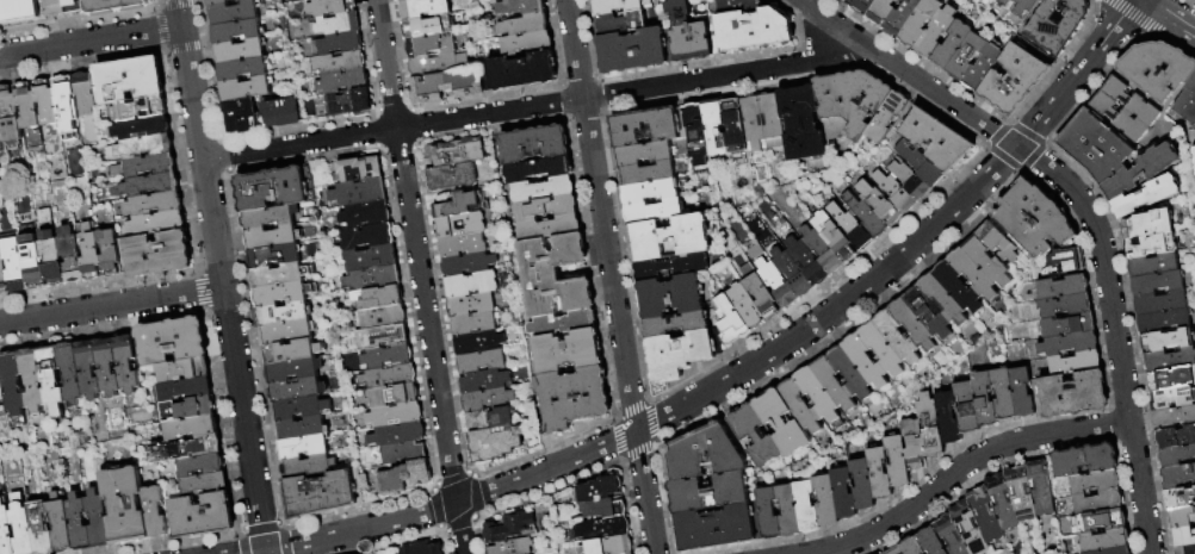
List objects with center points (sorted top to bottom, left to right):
building: (243, 0)
building: (404, 0)
building: (216, 1)
building: (847, 2)
building: (1007, 4)
building: (113, 6)
building: (617, 6)
building: (737, 6)
building: (863, 6)
building: (74, 7)
building: (330, 7)
building: (520, 7)
building: (1027, 7)
building: (20, 8)
building: (54, 8)
building: (423, 8)
building: (234, 12)
building: (883, 12)
road: (1174, 14)
building: (903, 18)
building: (921, 23)
building: (339, 24)
building: (620, 24)
building: (1057, 24)
building: (524, 25)
building: (427, 26)
building: (237, 30)
building: (749, 31)
building: (688, 33)
building: (936, 33)
road: (91, 41)
building: (338, 44)
building: (526, 44)
building: (429, 45)
building: (952, 45)
building: (240, 50)
building: (632, 51)
building: (967, 57)
building: (339, 63)
building: (436, 64)
building: (242, 68)
building: (984, 68)
building: (1158, 70)
building: (520, 71)
building: (126, 80)
building: (1016, 80)
building: (343, 82)
building: (446, 86)
building: (246, 88)
building: (83, 94)
building: (850, 100)
building: (348, 102)
building: (1131, 102)
building: (66, 105)
road: (530, 107)
building: (47, 108)
building: (141, 108)
building: (1188, 108)
building: (279, 112)
building: (240, 114)
building: (29, 117)
building: (886, 117)
building: (10, 118)
building: (1121, 119)
building: (772, 122)
building: (800, 124)
building: (753, 125)
building: (645, 126)
building: (141, 127)
building: (733, 127)
building: (714, 129)
building: (695, 135)
building: (933, 137)
building: (1, 141)
building: (534, 145)
building: (141, 147)
building: (1096, 148)
building: (470, 152)
building: (643, 154)
building: (1194, 154)
building: (441, 156)
building: (918, 164)
building: (144, 167)
building: (358, 169)
building: (539, 170)
building: (1141, 173)
building: (646, 174)
building: (451, 179)
building: (909, 181)
building: (150, 185)
building: (274, 189)
building: (648, 192)
building: (893, 193)
building: (357, 194)
building: (1145, 198)
building: (544, 200)
building: (154, 204)
building: (879, 204)
building: (456, 206)
road: (1084, 207)
building: (652, 212)
building: (365, 216)
building: (863, 216)
building: (270, 218)
building: (1033, 222)
building: (156, 224)
building: (459, 226)
building: (1148, 226)
building: (849, 228)
building: (549, 229)
building: (366, 237)
building: (832, 237)
building: (272, 238)
building: (669, 238)
building: (0, 242)
building: (998, 244)
building: (460, 247)
building: (1152, 247)
building: (50, 250)
building: (821, 251)
building: (110, 254)
building: (70, 255)
building: (91, 255)
building: (159, 255)
building: (273, 257)
building: (369, 259)
building: (32, 262)
building: (806, 262)
building: (987, 262)
building: (13, 263)
building: (1065, 264)
building: (466, 266)
building: (671, 267)
building: (1154, 267)
building: (791, 274)
building: (279, 275)
building: (973, 275)
road: (222, 276)
road: (420, 276)
building: (553, 276)
road: (611, 276)
building: (2, 279)
building: (372, 279)
building: (775, 285)
building: (1157, 285)
building: (470, 286)
building: (958, 288)
building: (1064, 290)
building: (759, 292)
building: (281, 293)
building: (669, 297)
building: (377, 298)
building: (943, 301)
building: (1162, 304)
road: (112, 306)
building: (470, 306)
building: (744, 306)
building: (1066, 307)
building: (929, 313)
building: (283, 315)
building: (378, 318)
building: (729, 322)
building: (1164, 323)
building: (472, 324)
building: (563, 324)
building: (674, 325)
building: (914, 325)
building: (1069, 328)
building: (287, 332)
building: (382, 337)
building: (898, 338)
building: (173, 341)
building: (1168, 342)
building: (477, 344)
building: (1071, 346)
building: (883, 350)
building: (291, 353)
building: (566, 353)
building: (677, 354)
building: (386, 357)
building: (1170, 361)
building: (481, 362)
building: (126, 363)
road: (756, 363)
building: (866, 363)
building: (1076, 365)
building: (106, 366)
building: (88, 369)
building: (182, 369)
building: (293, 371)
building: (68, 373)
building: (850, 374)
building: (388, 378)
building: (31, 379)
building: (49, 380)
building: (1171, 380)
building: (12, 382)
building: (479, 382)
building: (834, 385)
building: (1, 388)
building: (185, 388)
building: (297, 391)
building: (1023, 394)
building: (391, 397)
building: (819, 397)
building: (1005, 397)
building: (1071, 397)
building: (572, 399)
building: (1174, 399)
building: (487, 400)
building: (985, 400)
building: (188, 409)
building: (801, 409)
building: (2, 410)
building: (299, 410)
building: (968, 410)
building: (394, 416)
building: (500, 418)
building: (949, 419)
building: (1175, 419)
building: (476, 423)
building: (782, 424)
building: (191, 428)
building: (931, 428)
building: (301, 429)
building: (396, 435)
building: (757, 438)
building: (1175, 438)
building: (494, 444)
building: (915, 446)
building: (302, 448)
building: (187, 449)
building: (403, 453)
building: (707, 454)
building: (1176, 457)
building: (1081, 461)
building: (898, 463)
building: (200, 465)
road: (962, 466)
building: (308, 467)
building: (880, 475)
building: (404, 478)
building: (1178, 479)
building: (1094, 483)
building: (204, 484)
building: (863, 485)
building: (1040, 488)
building: (600, 492)
building: (708, 493)
building: (323, 494)
building: (1020, 494)
building: (844, 496)
building: (1181, 500)
building: (826, 502)
building: (1001, 503)
building: (1096, 503)
building: (125, 505)
building: (607, 509)
building: (807, 509)
building: (155, 512)
building: (790, 512)
building: (769, 515)
building: (984, 515)
building: (202, 516)
building: (98, 518)
building: (1182, 519)
building: (1098, 521)
building: (78, 522)
building: (60, 524)
building: (21, 525)
building: (5, 527)
building: (967, 528)
building: (41, 529)
building: (719, 529)
building: (513, 530)
building: (603, 530)
building: (949, 536)
building: (1183, 539)
building: (1103, 541)
building: (930, 542)
building: (910, 546)
building: (609, 547)
building: (514, 548)
building: (425, 549)
building: (893, 550)
building: (1185, 550)
road: (250, 552)
building: (1113, 552)

